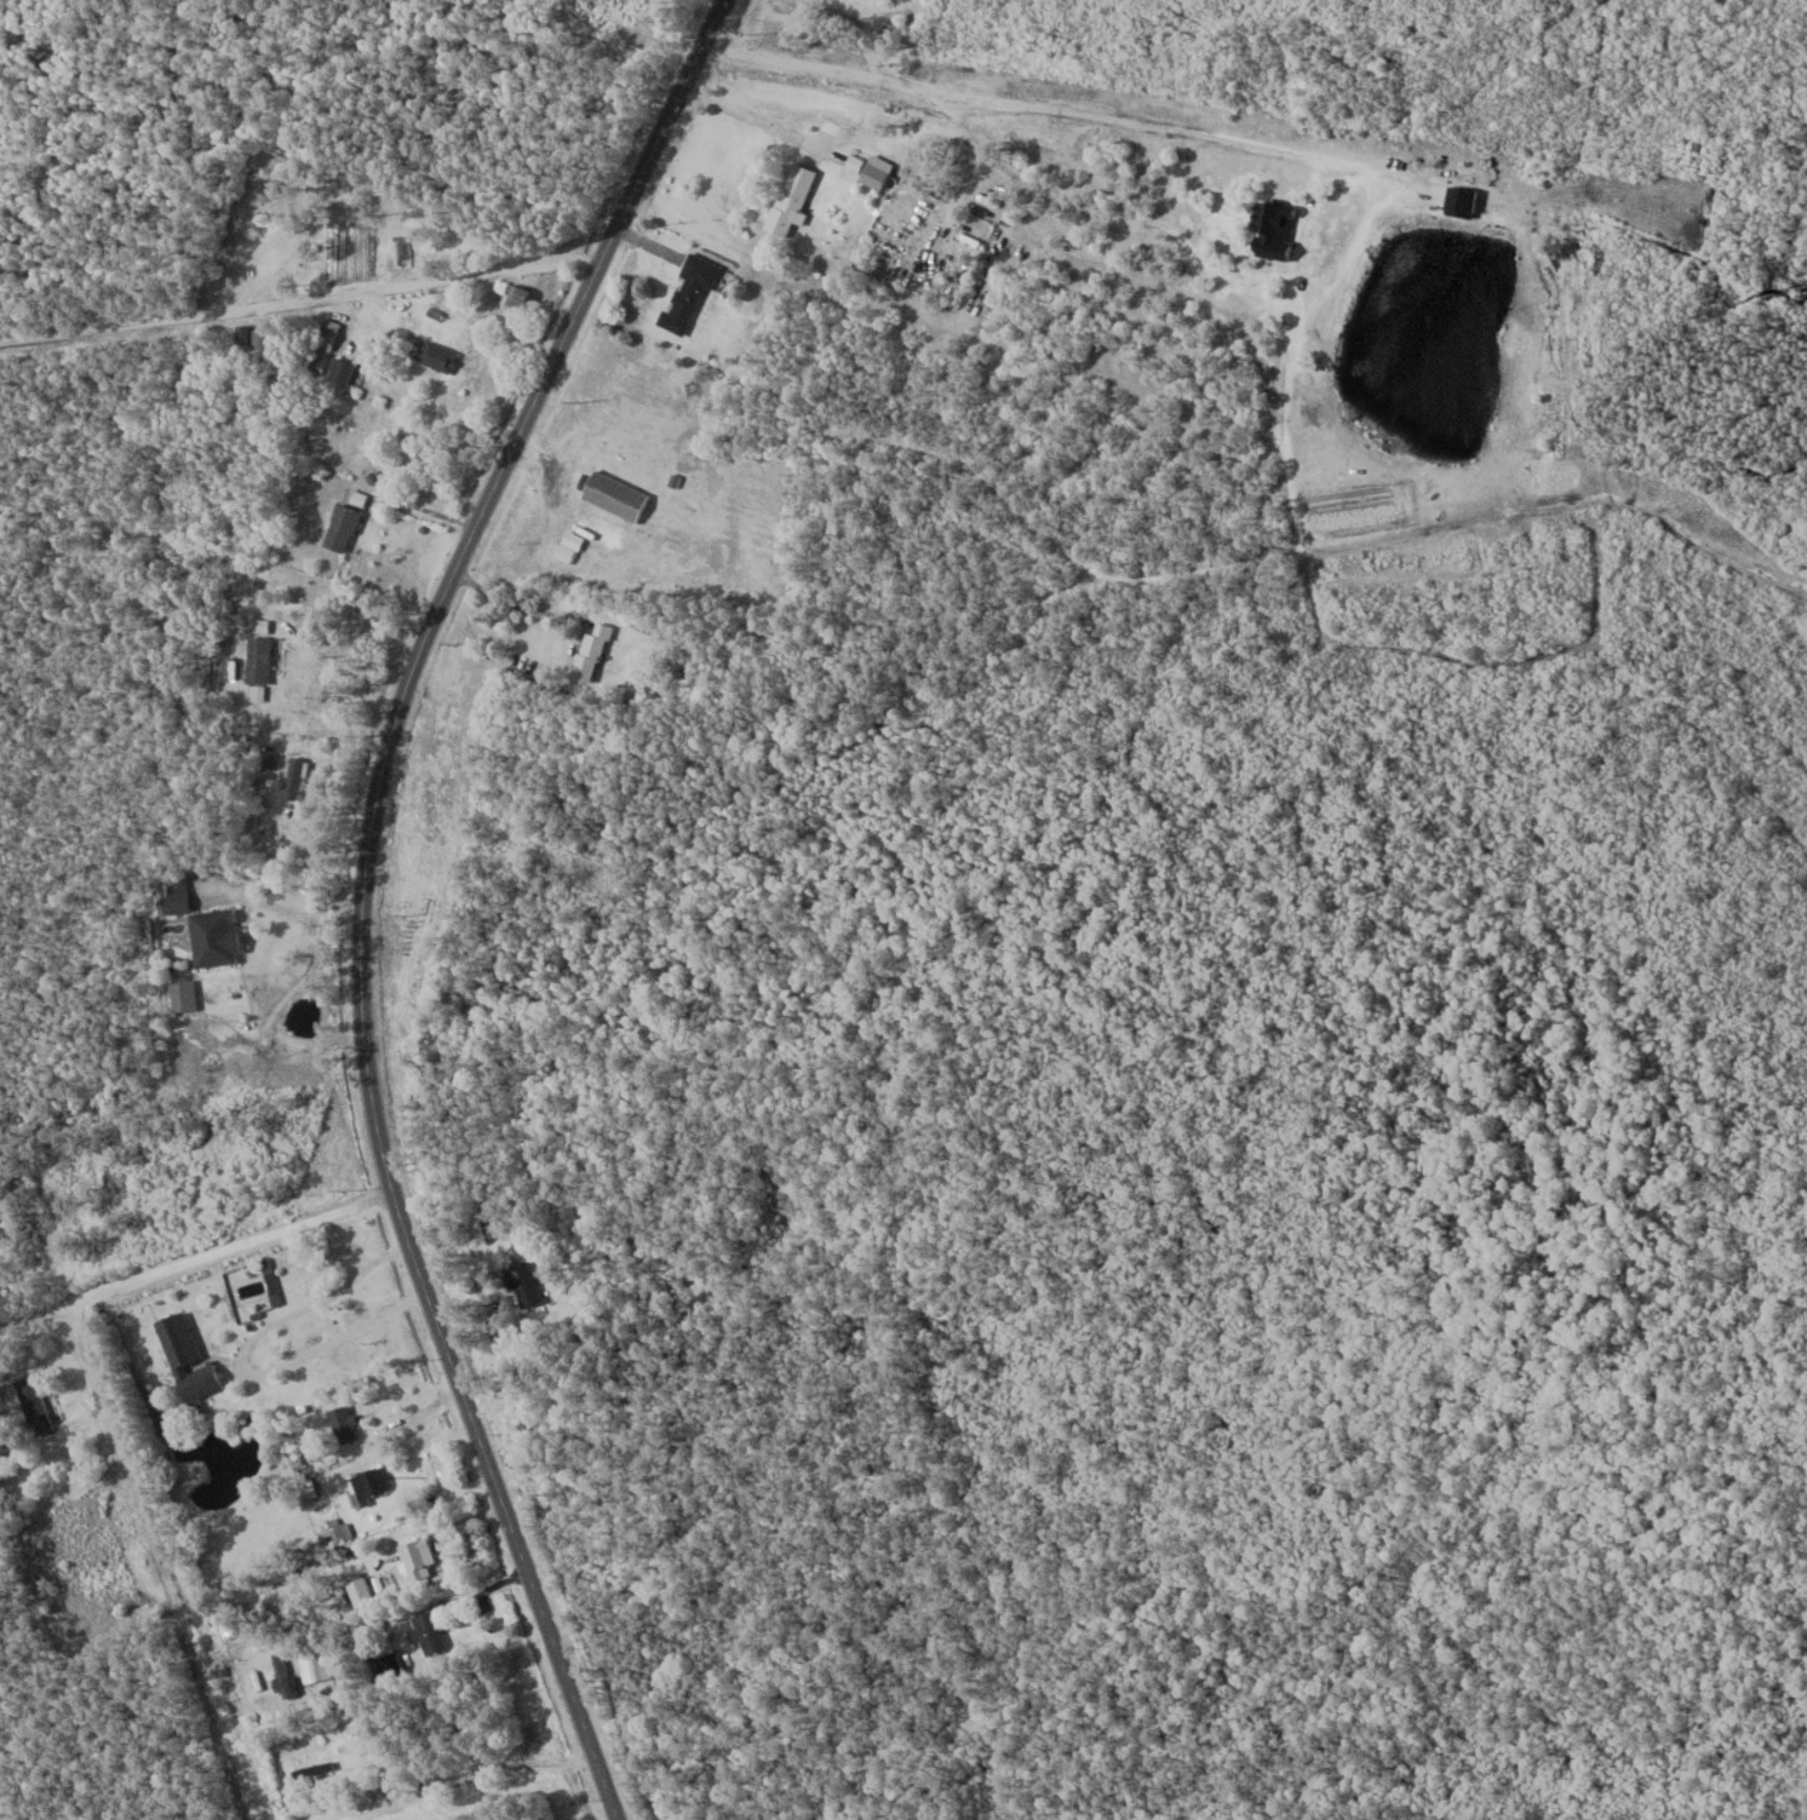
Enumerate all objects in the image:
building: (854, 162)
building: (788, 199)
building: (685, 293)
building: (515, 295)
road: (302, 303)
building: (325, 337)
building: (258, 340)
building: (432, 355)
building: (340, 369)
building: (613, 494)
building: (339, 527)
building: (567, 545)
road: (517, 601)
road: (340, 647)
building: (589, 653)
building: (256, 659)
building: (173, 894)
road: (361, 894)
building: (213, 936)
road: (289, 993)
building: (180, 995)
road: (194, 1257)
building: (520, 1284)
building: (183, 1359)
building: (31, 1405)
building: (340, 1424)
building: (368, 1483)
building: (414, 1558)
road: (171, 1560)
building: (426, 1632)
building: (314, 1664)
road: (467, 1776)

